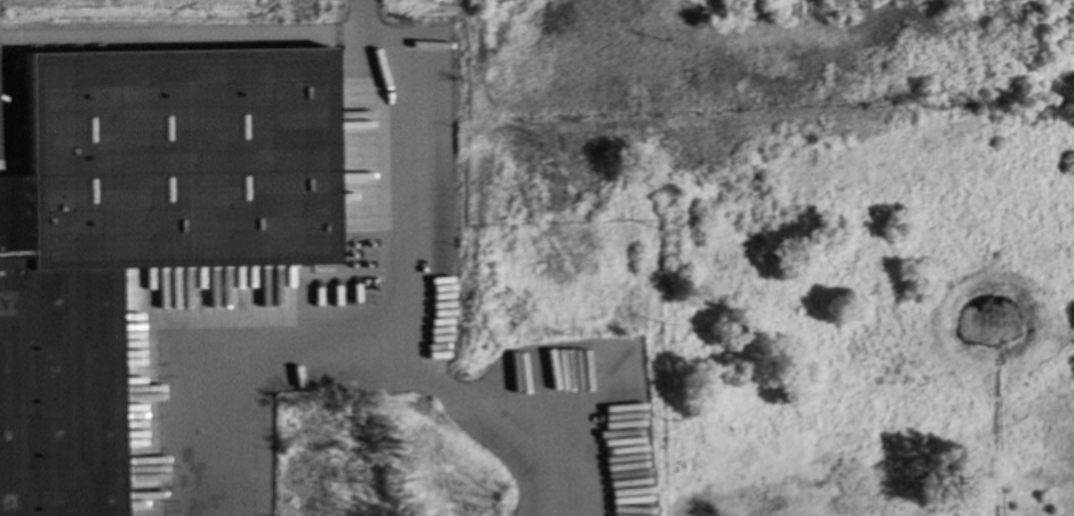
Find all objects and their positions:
road: (185, 38)
road: (0, 41)
road: (2, 84)
road: (402, 336)
road: (506, 415)

